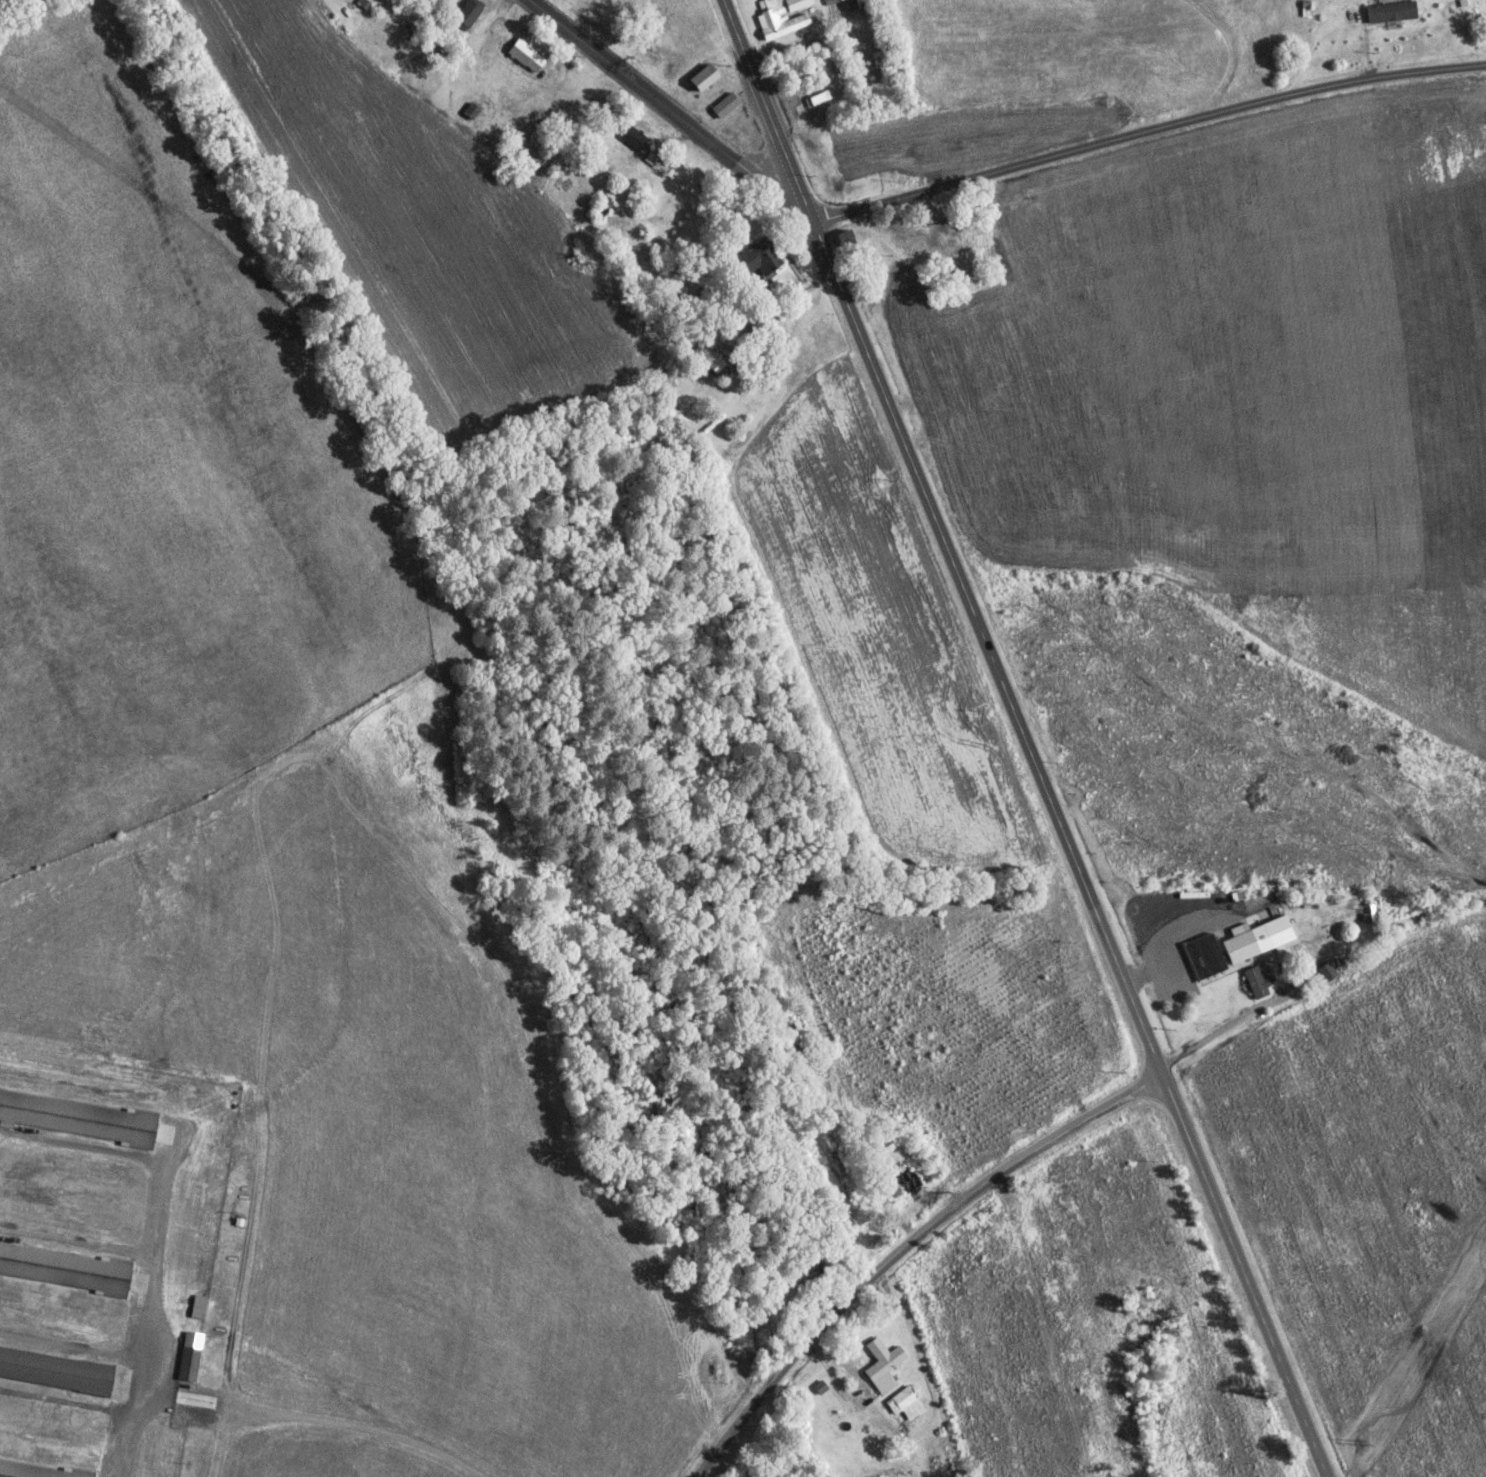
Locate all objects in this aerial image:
building: (829, 1)
building: (361, 3)
building: (849, 3)
building: (4, 6)
building: (466, 13)
road: (488, 13)
building: (1388, 14)
building: (780, 16)
building: (814, 43)
road: (781, 46)
crop: (1057, 52)
building: (525, 54)
building: (797, 54)
road: (558, 57)
building: (702, 78)
building: (817, 99)
parking lot: (782, 107)
road: (668, 109)
road: (1145, 132)
building: (632, 136)
road: (670, 137)
building: (653, 158)
building: (602, 206)
crop: (427, 230)
building: (759, 256)
road: (805, 292)
building: (711, 363)
crop: (1294, 378)
building: (939, 408)
road: (891, 418)
crop: (876, 632)
building: (1236, 948)
building: (1200, 958)
building: (80, 1119)
road: (1190, 1158)
building: (905, 1184)
road: (900, 1249)
building: (67, 1268)
building: (195, 1354)
building: (881, 1367)
building: (64, 1371)
building: (905, 1406)
road: (367, 1423)
building: (40, 1470)

